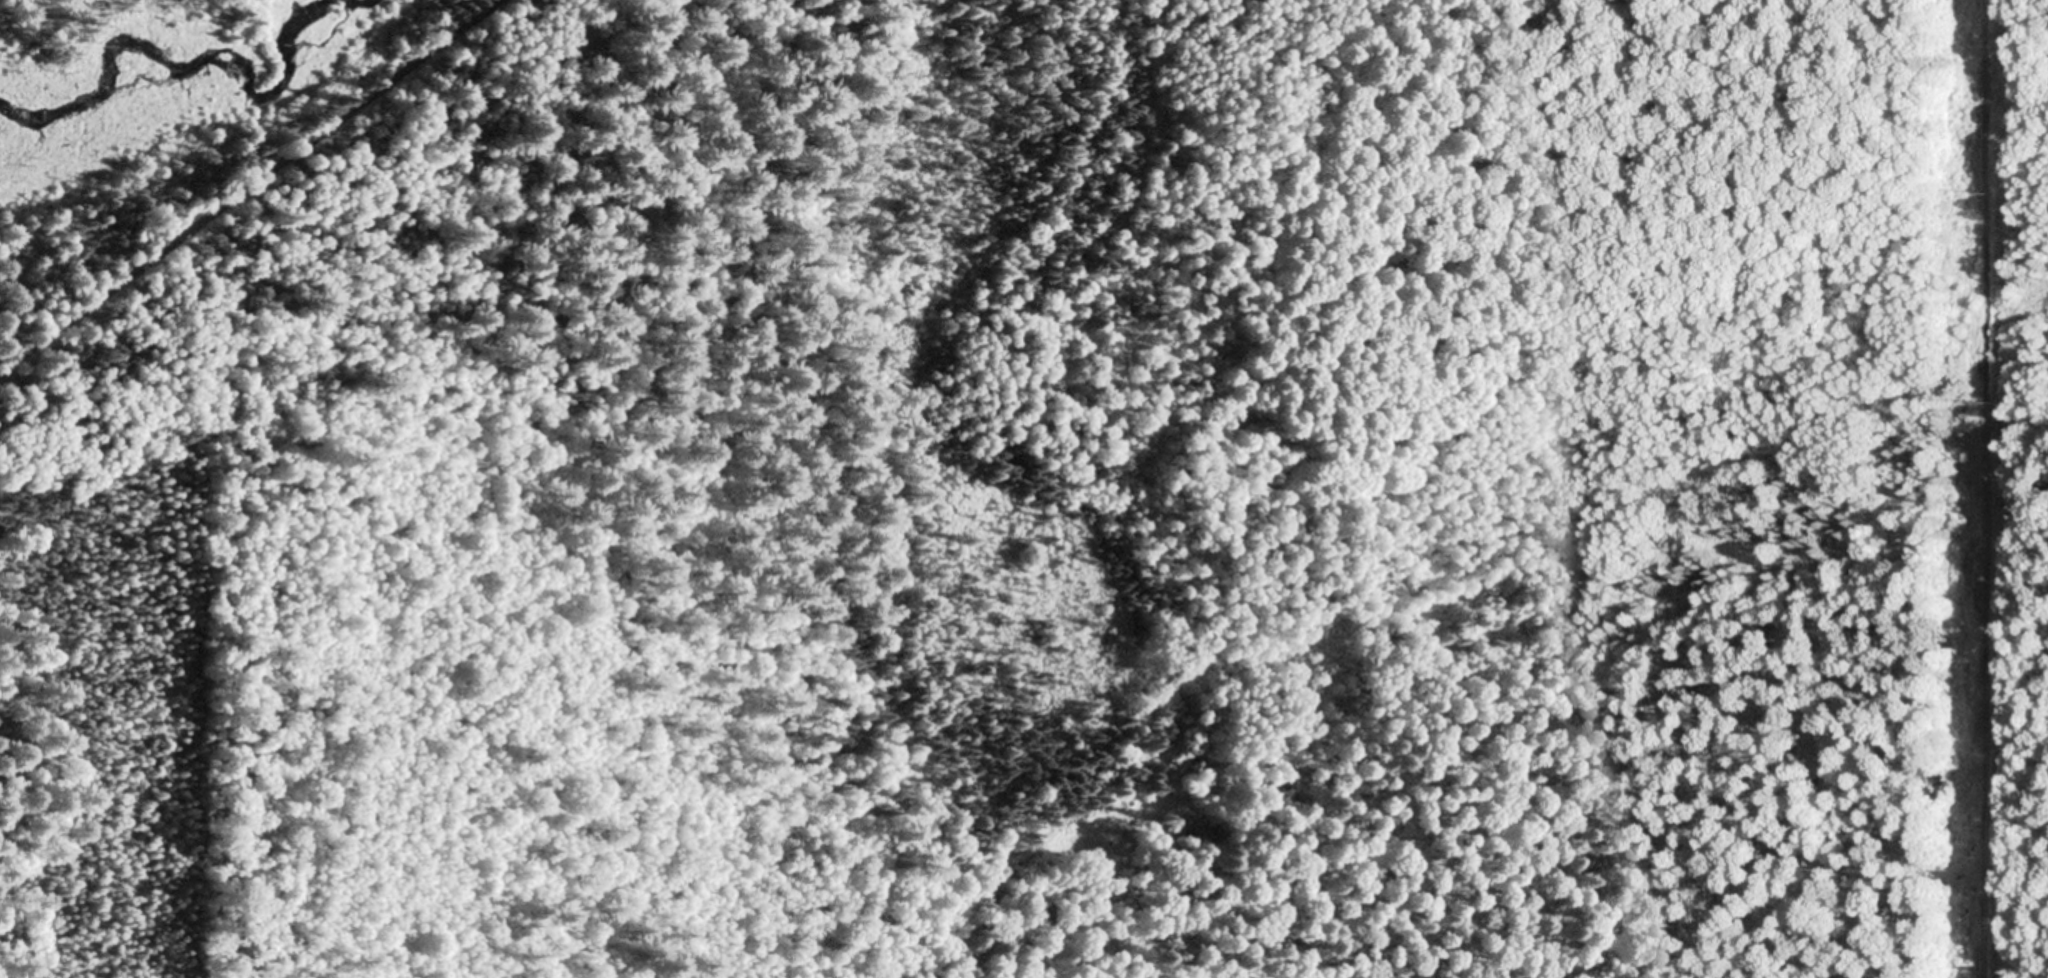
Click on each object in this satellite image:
road: (248, 176)

